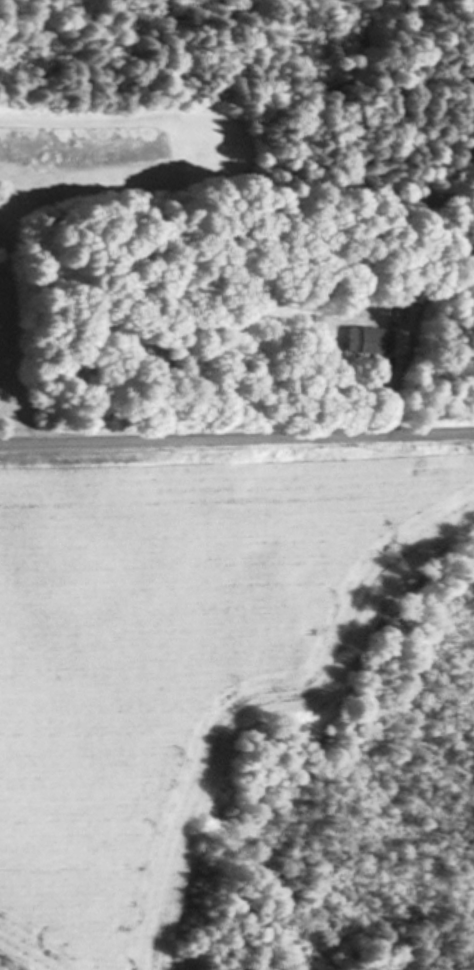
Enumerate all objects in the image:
building: (372, 344)
road: (370, 412)
road: (237, 438)

